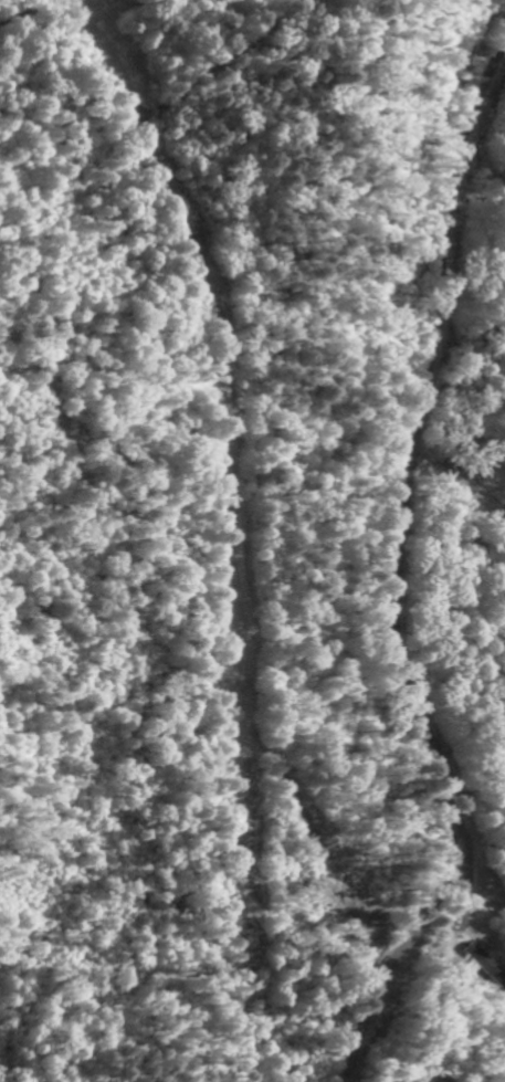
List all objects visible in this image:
road: (462, 489)
road: (398, 574)
building: (481, 966)

